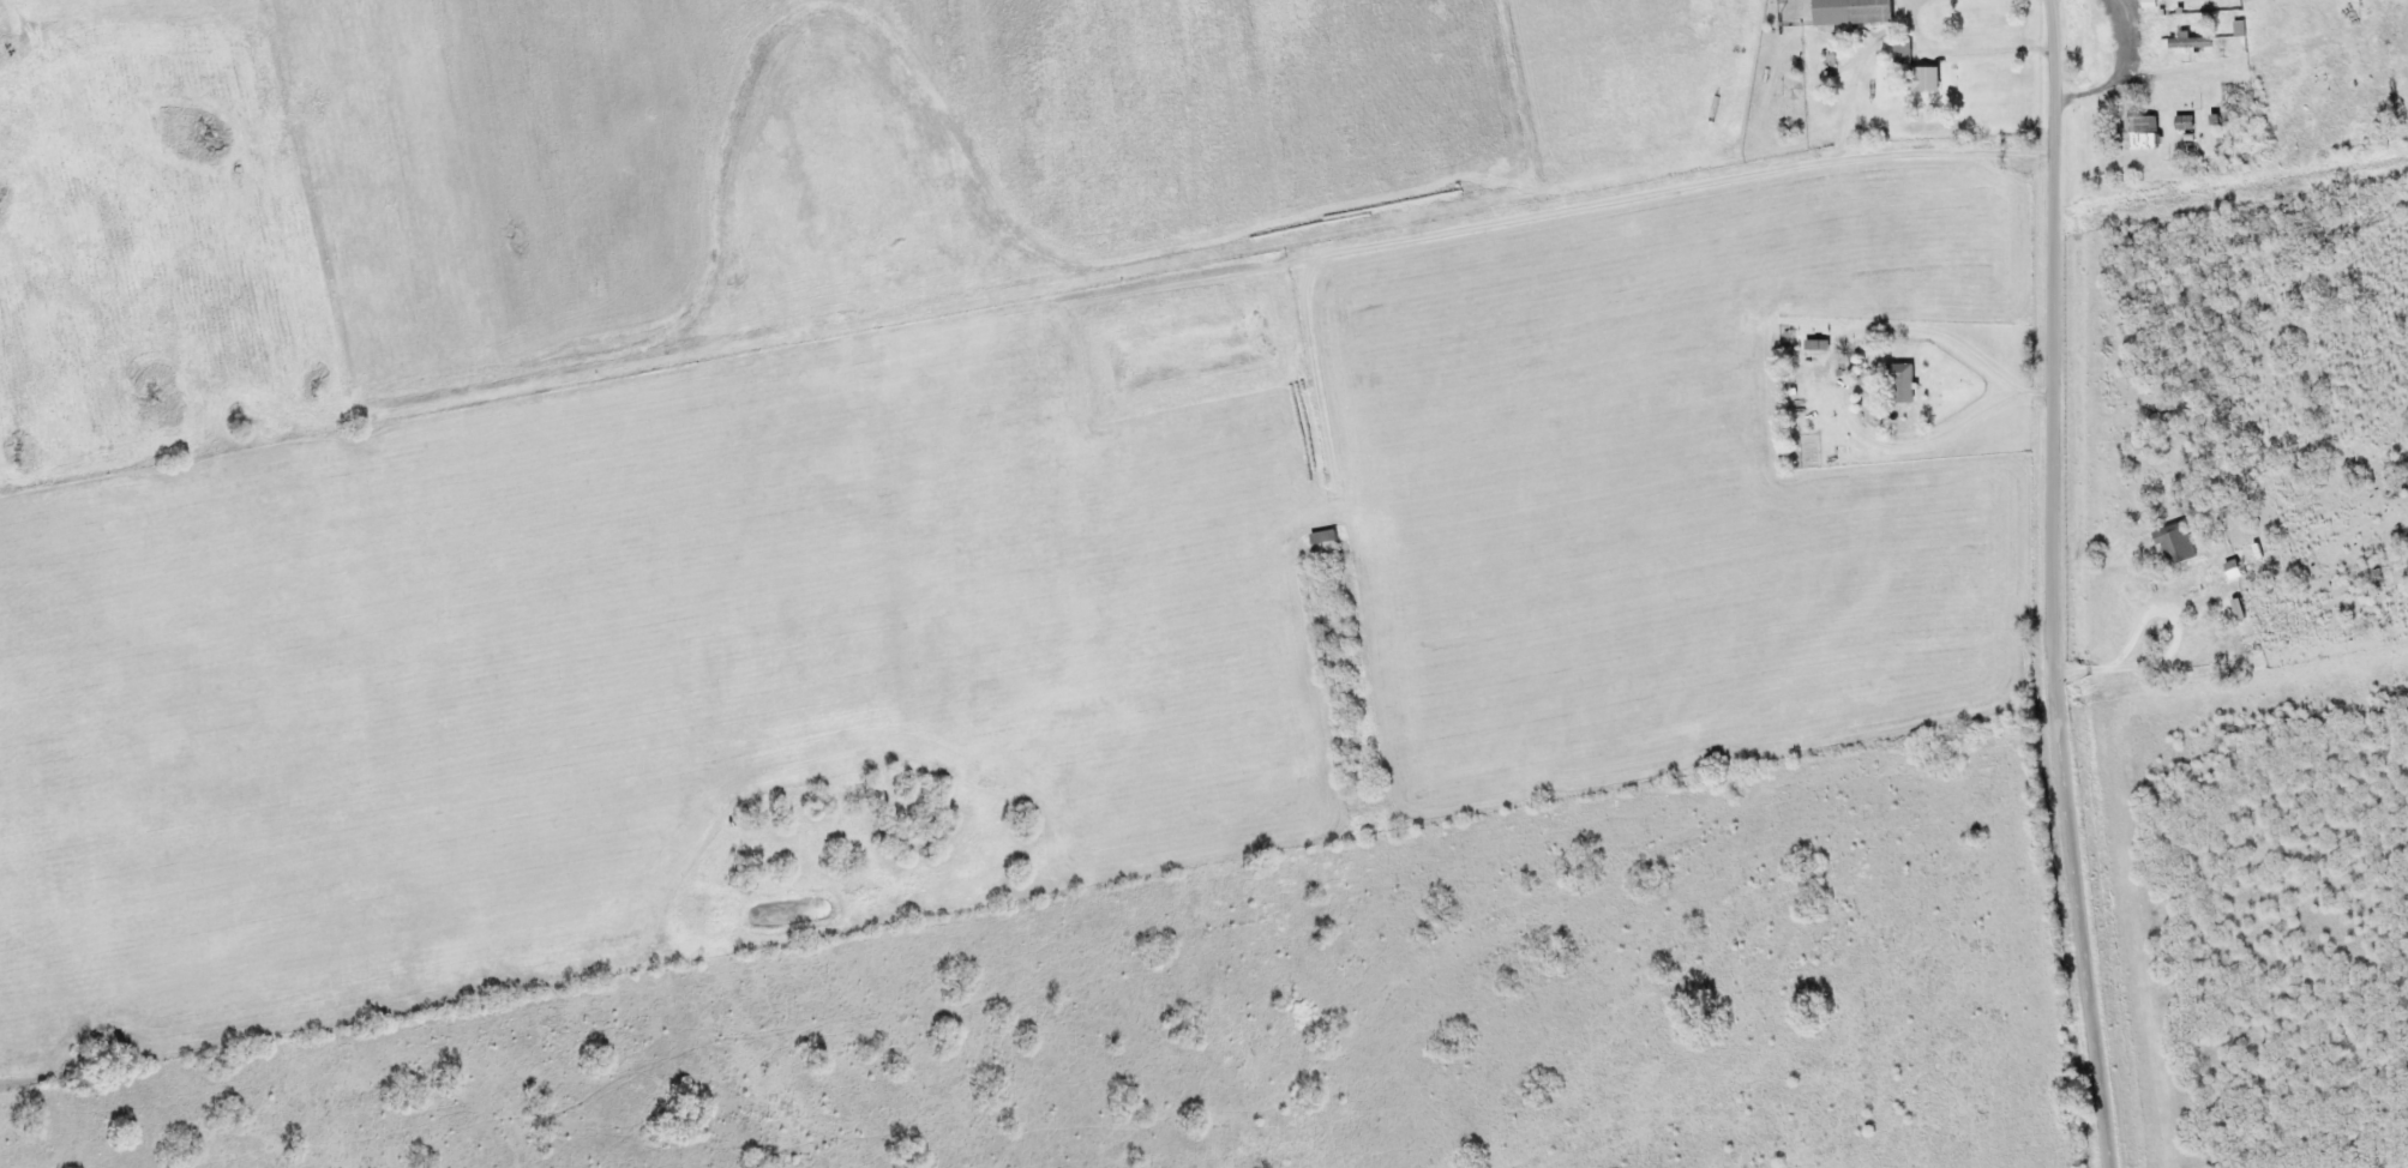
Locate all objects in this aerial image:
building: (1851, 12)
building: (2191, 42)
building: (1904, 54)
building: (1927, 80)
building: (2144, 133)
building: (1818, 345)
building: (1902, 385)
building: (2176, 546)
building: (2233, 571)
road: (2060, 585)

